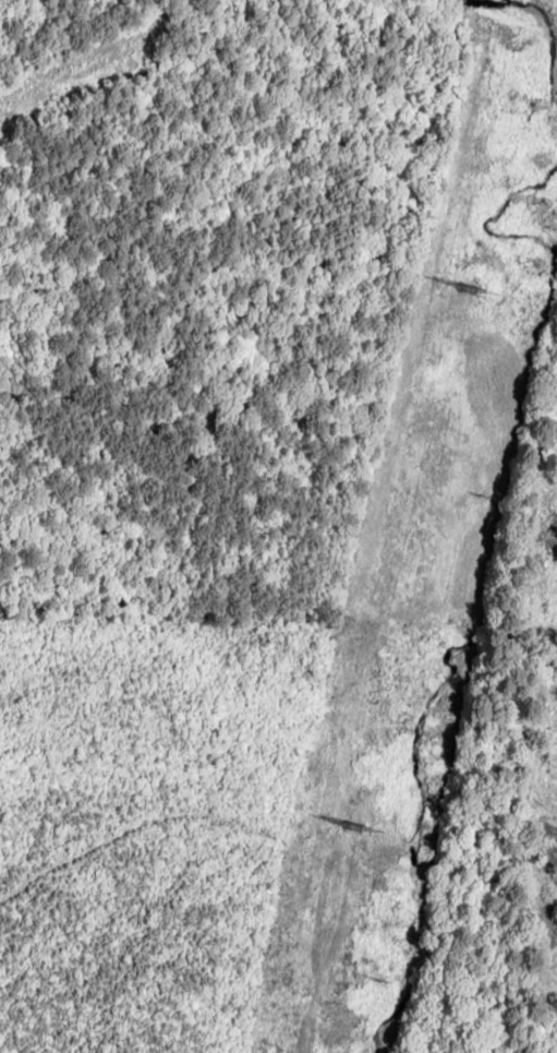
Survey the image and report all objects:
power tower: (460, 287)
power tower: (347, 824)

